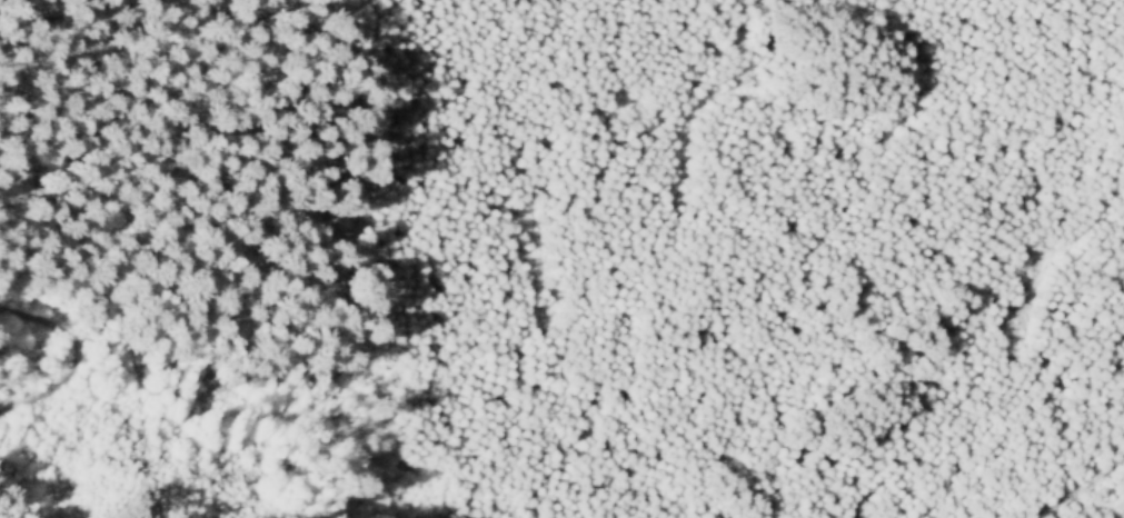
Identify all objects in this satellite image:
road: (1104, 496)

